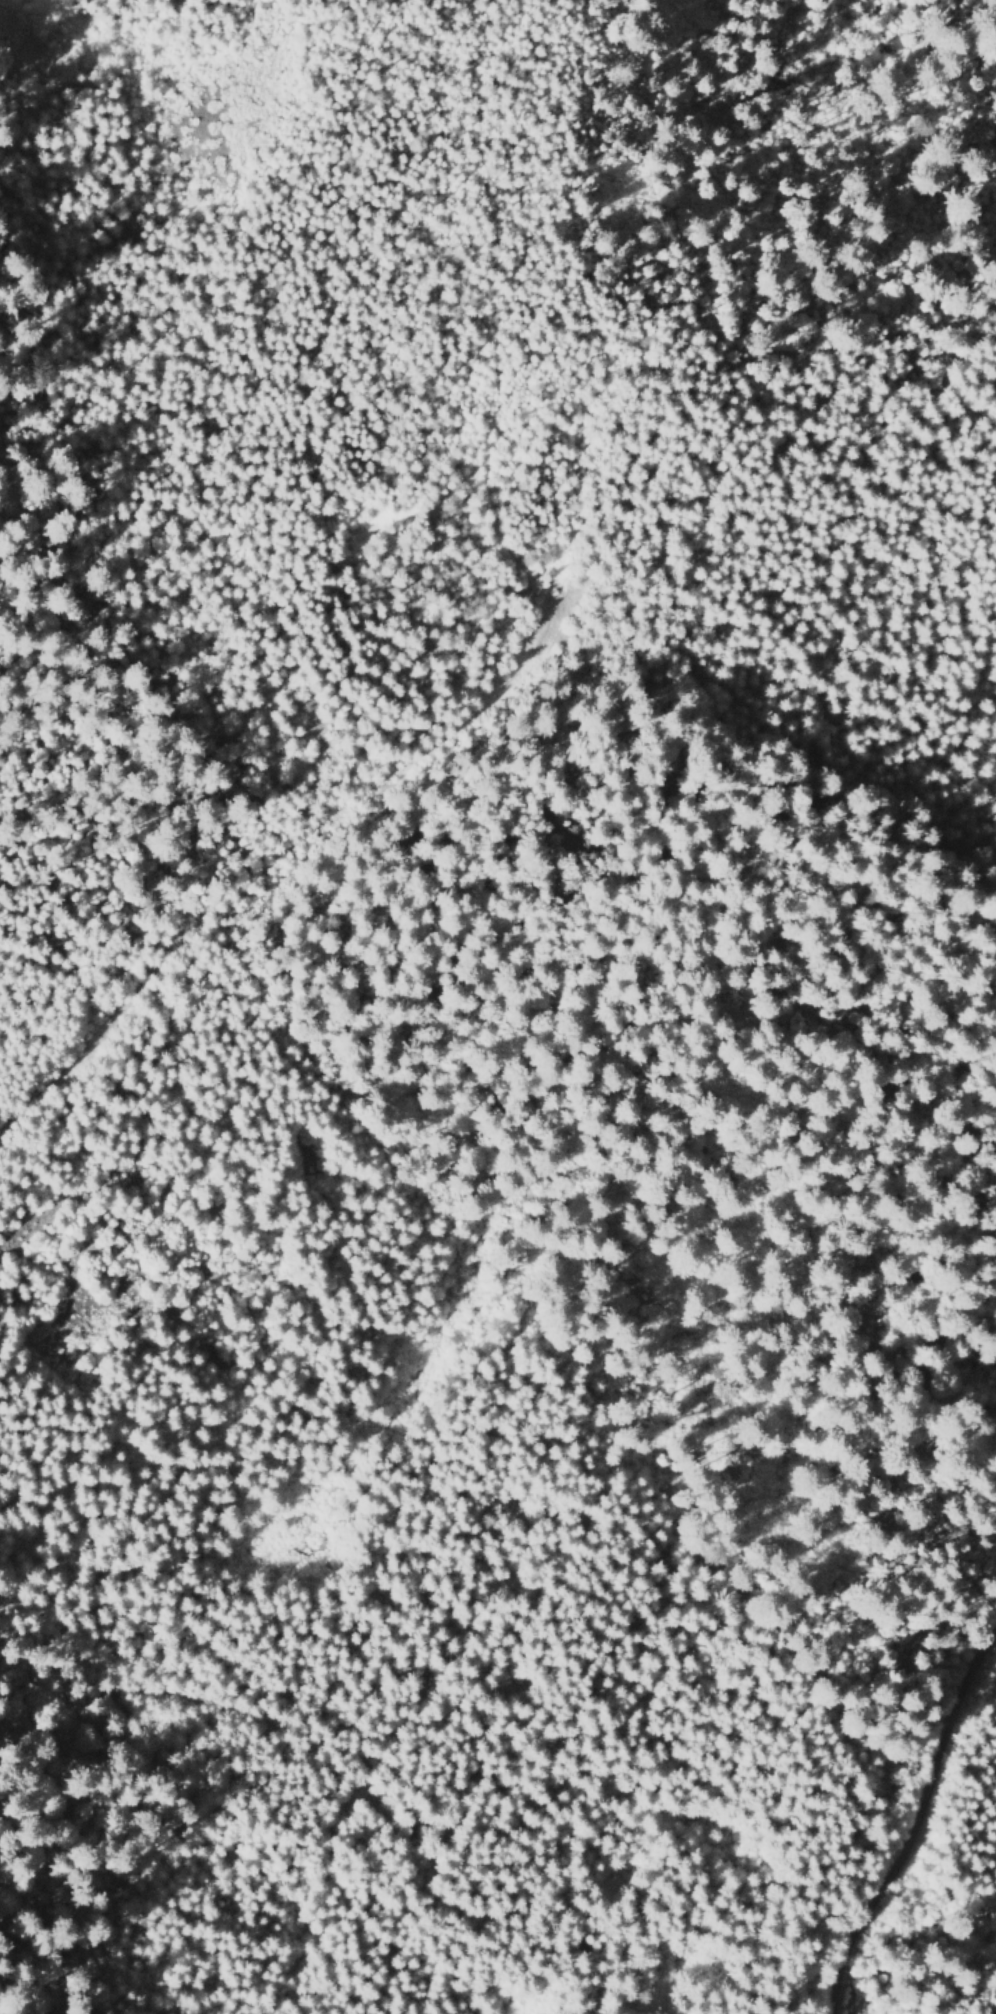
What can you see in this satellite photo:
road: (915, 1834)

